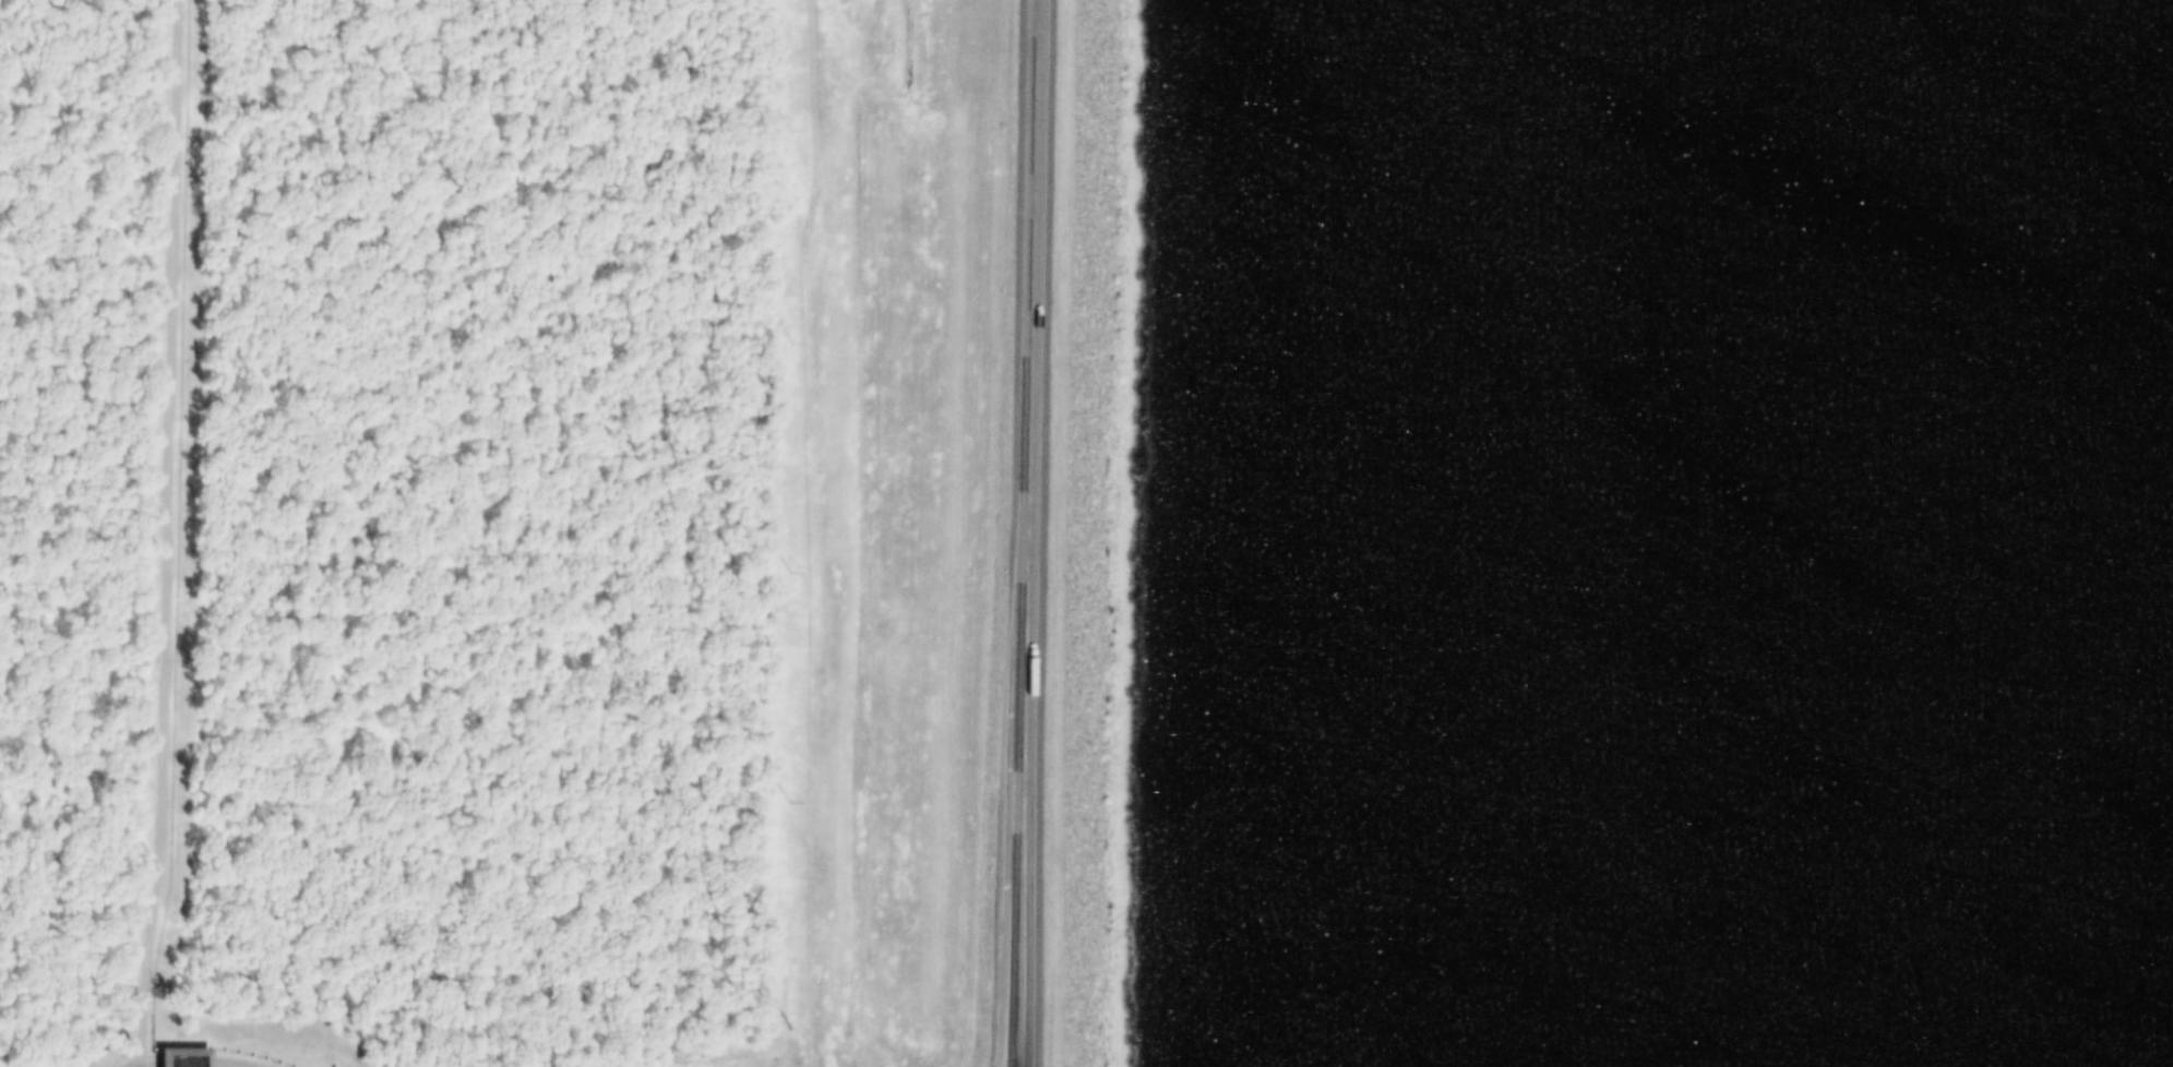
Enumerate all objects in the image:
road: (1099, 352)
road: (1088, 886)
building: (171, 1056)

